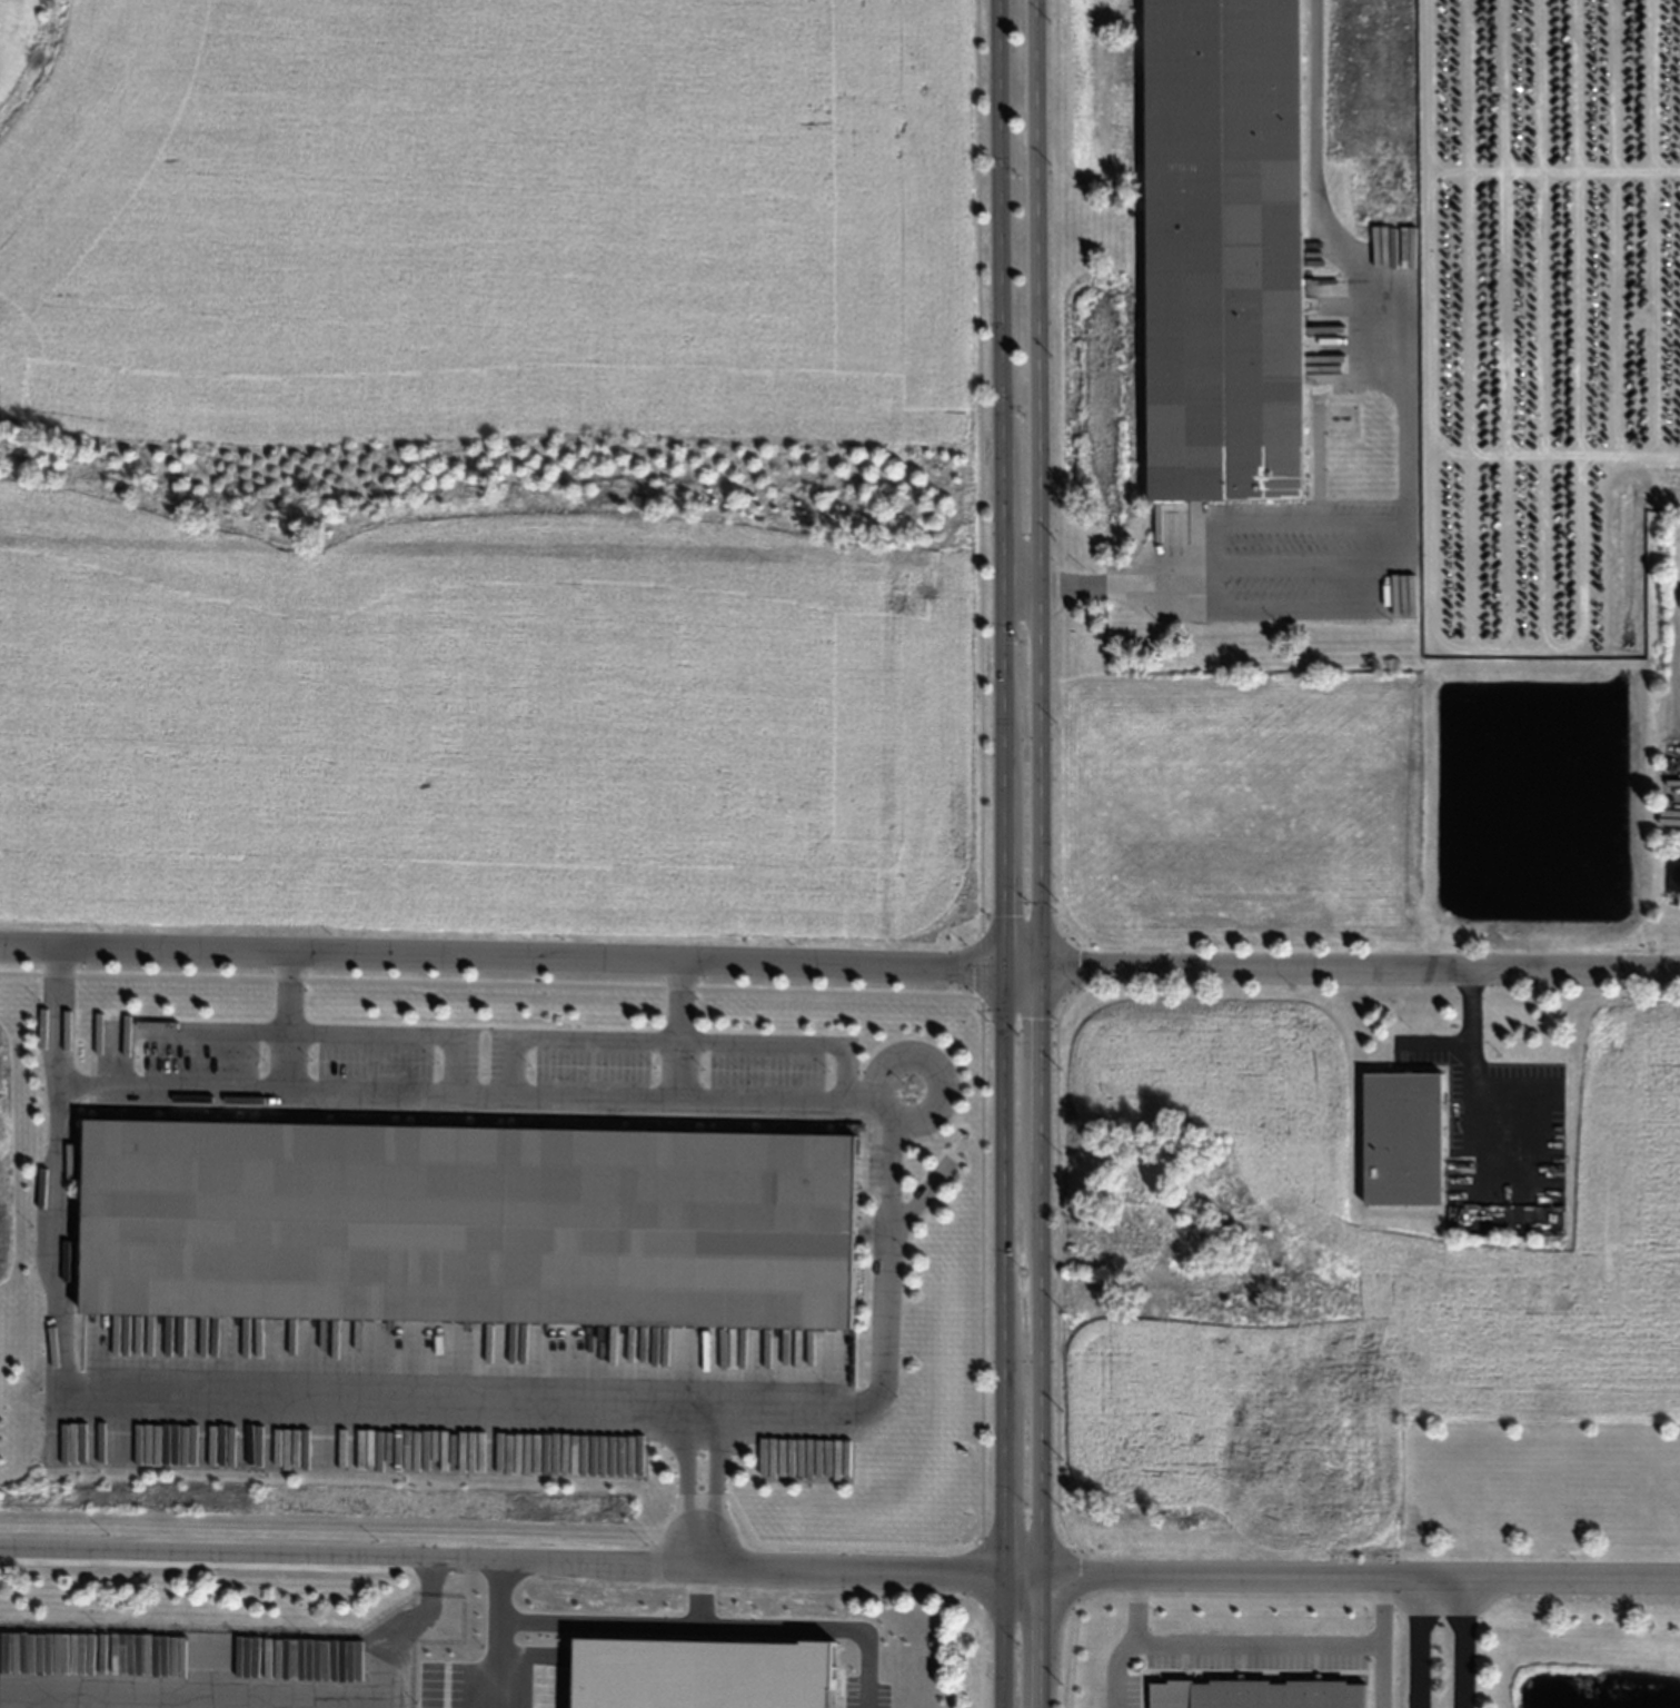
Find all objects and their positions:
building: (1222, 251)
road: (1396, 284)
road: (980, 467)
crop: (497, 470)
road: (1131, 585)
road: (1310, 608)
road: (1001, 854)
road: (1036, 854)
road: (839, 961)
road: (290, 1017)
road: (291, 1024)
road: (682, 1029)
road: (1439, 1032)
road: (682, 1039)
road: (1475, 1078)
road: (473, 1092)
building: (1405, 1138)
building: (464, 1217)
building: (1130, 1229)
building: (1220, 1292)
road: (405, 1403)
road: (697, 1409)
road: (351, 1556)
road: (1185, 1575)
road: (478, 1625)
road: (1262, 1642)
road: (1416, 1642)
road: (1467, 1642)
road: (1383, 1675)
building: (1261, 1696)

